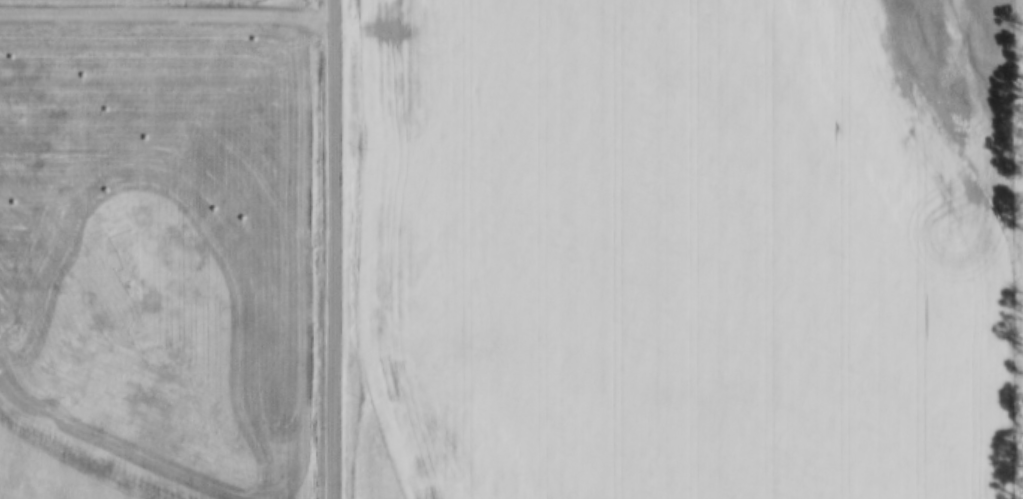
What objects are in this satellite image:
road: (167, 16)
road: (333, 249)

